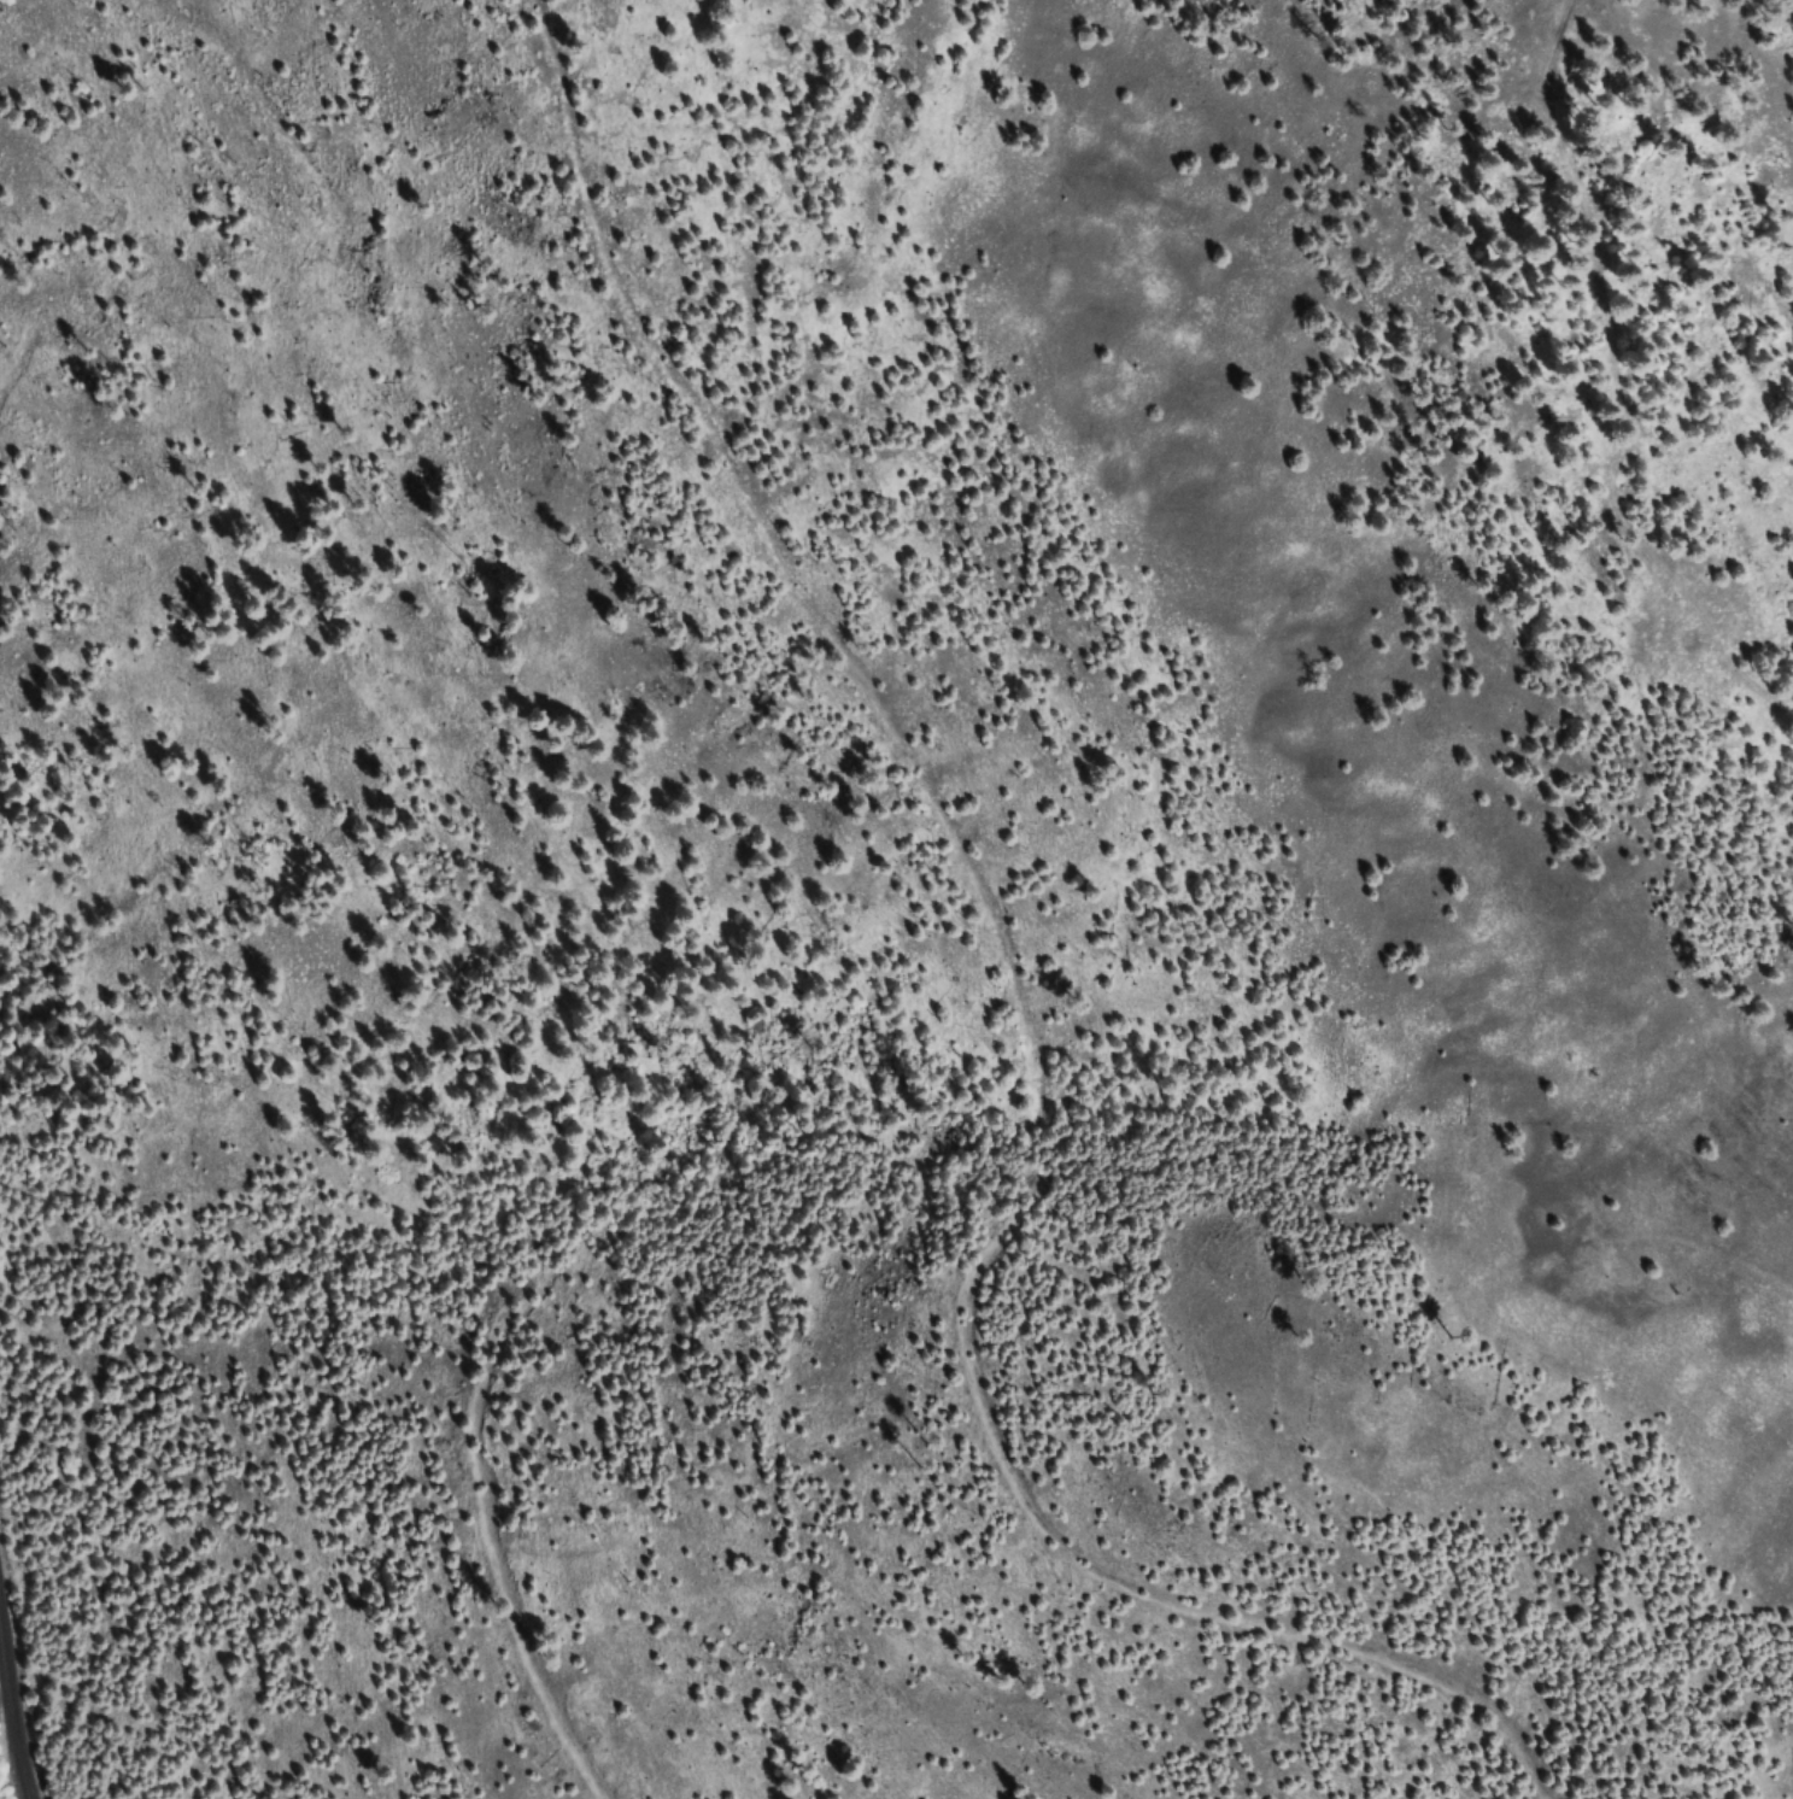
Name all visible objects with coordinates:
road: (1127, 979)
road: (629, 1265)
road: (8, 1757)

